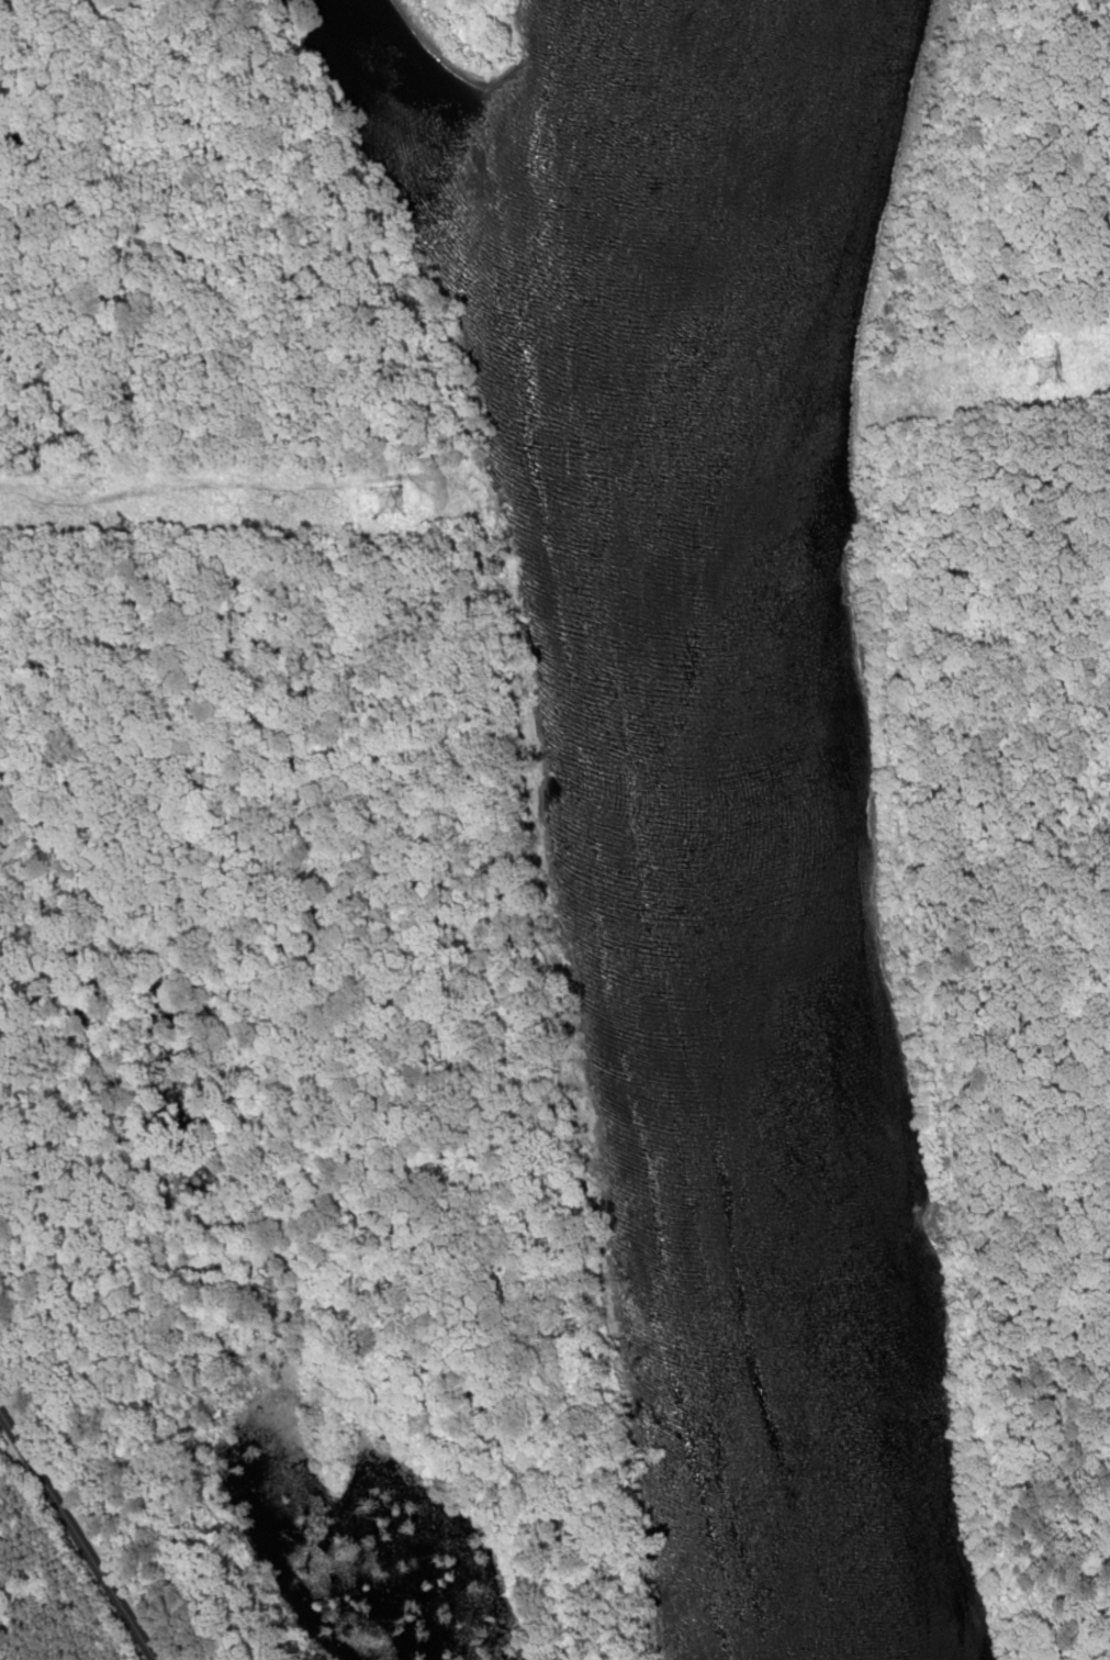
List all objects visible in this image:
road: (75, 1533)

